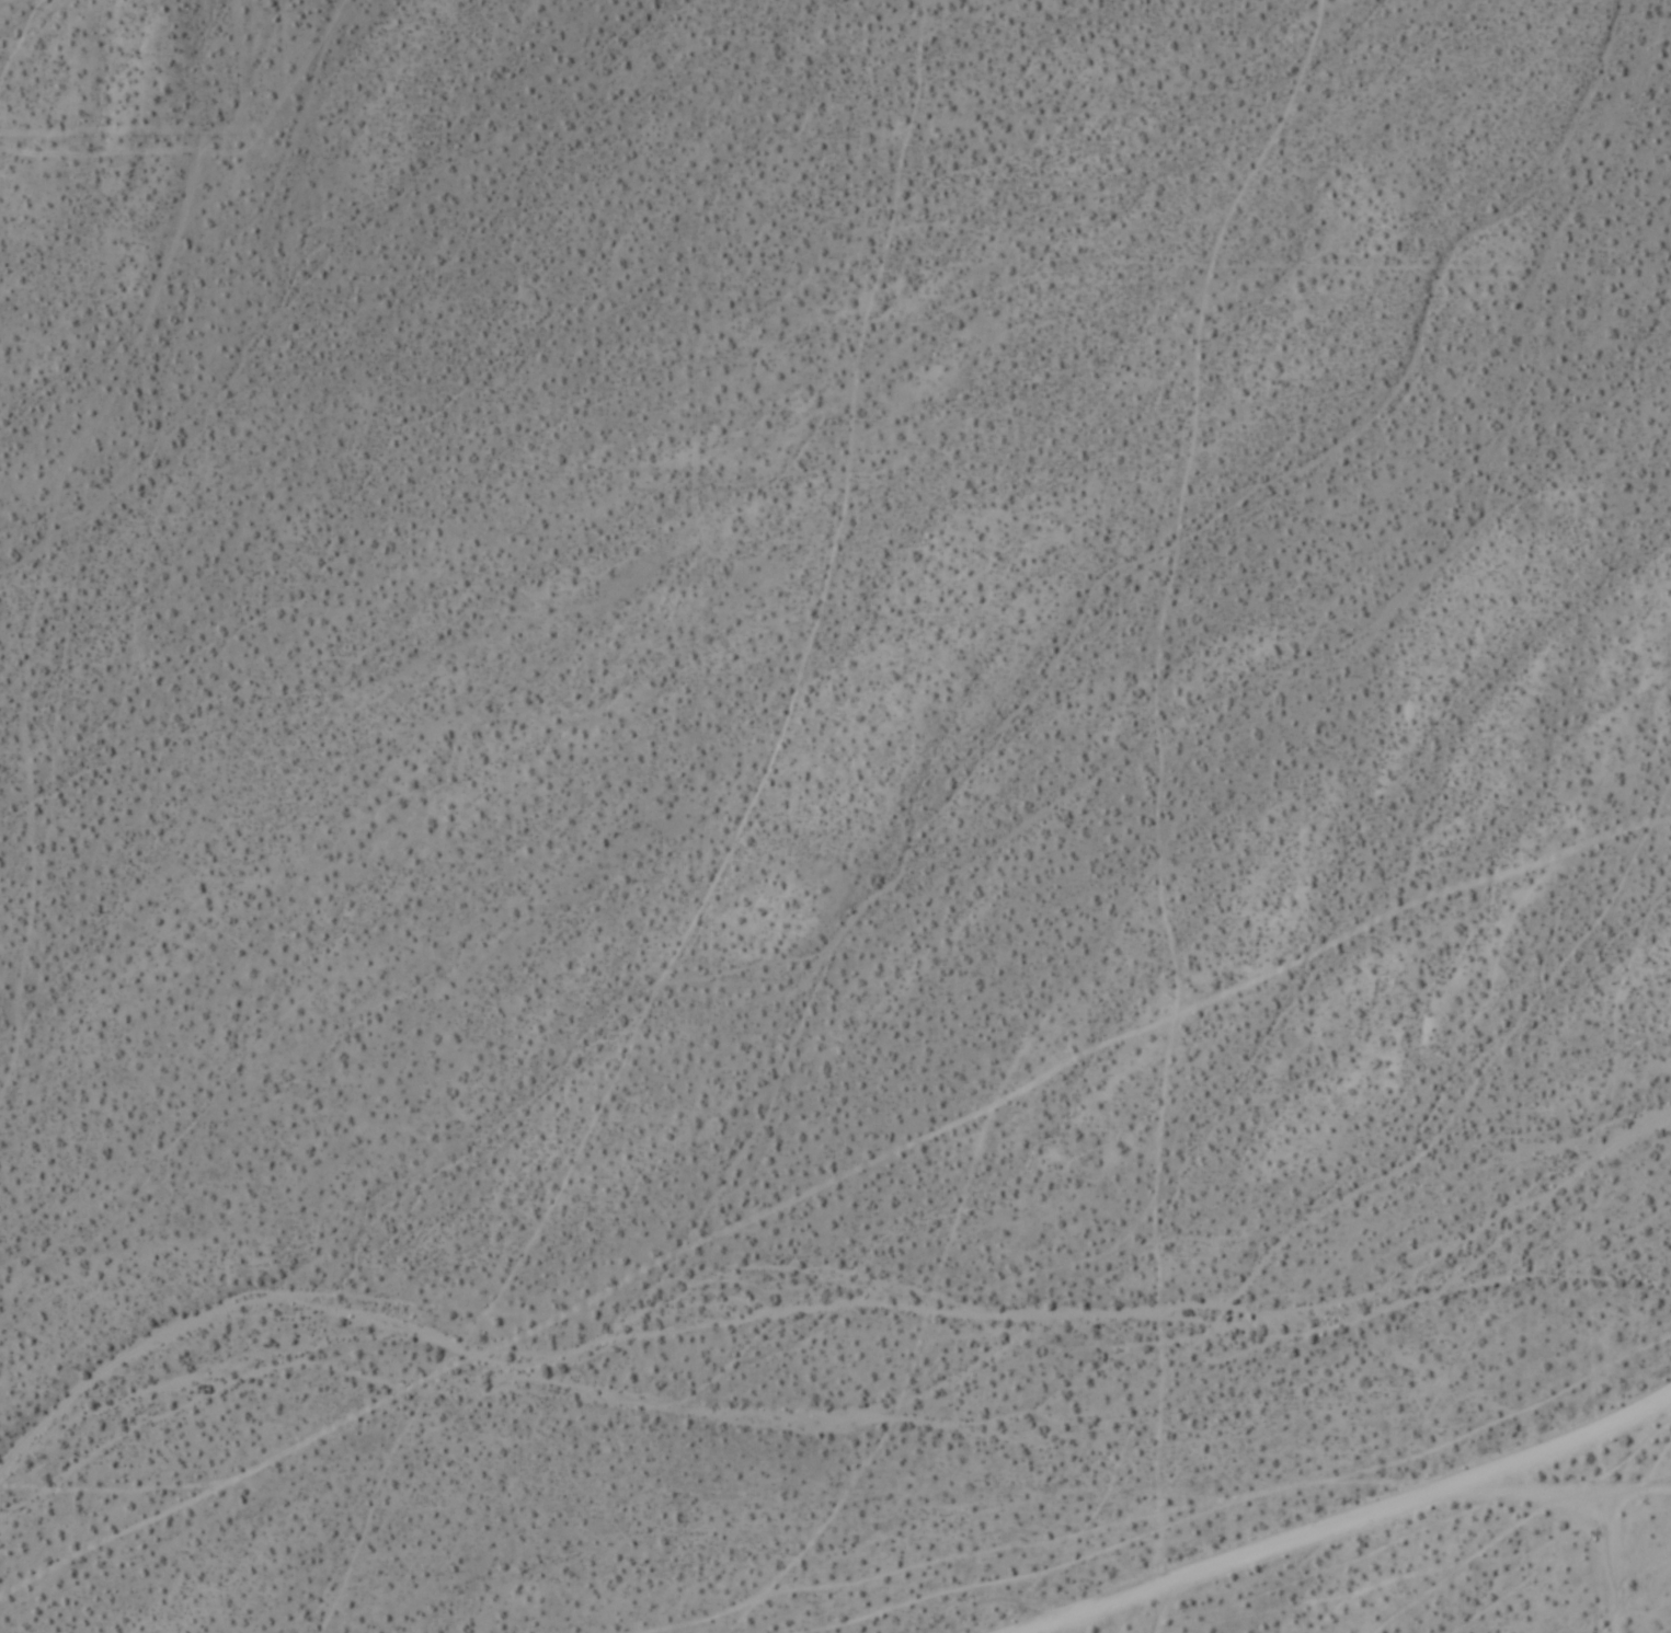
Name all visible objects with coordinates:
road: (1347, 1520)

